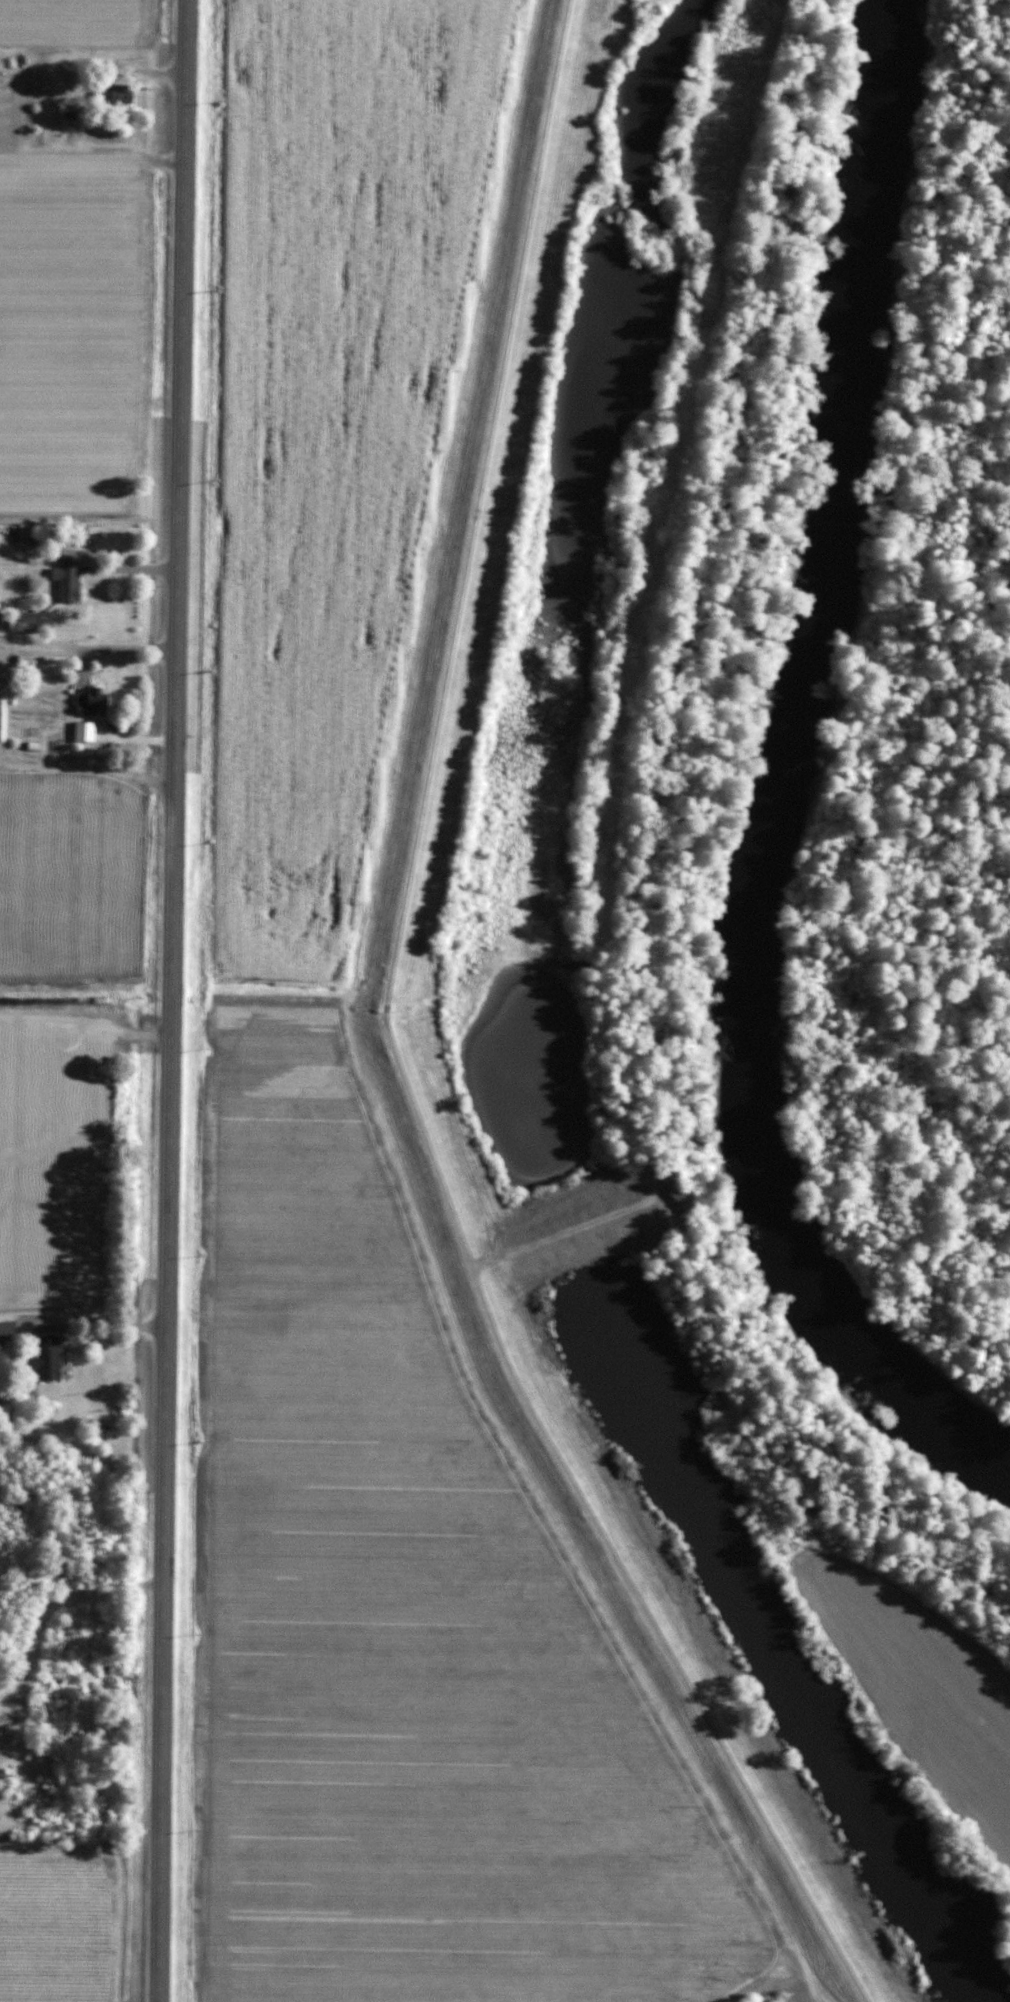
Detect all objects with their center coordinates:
building: (113, 96)
building: (65, 581)
building: (89, 703)
river: (775, 784)
road: (169, 1000)
building: (7, 1331)
building: (46, 1359)

